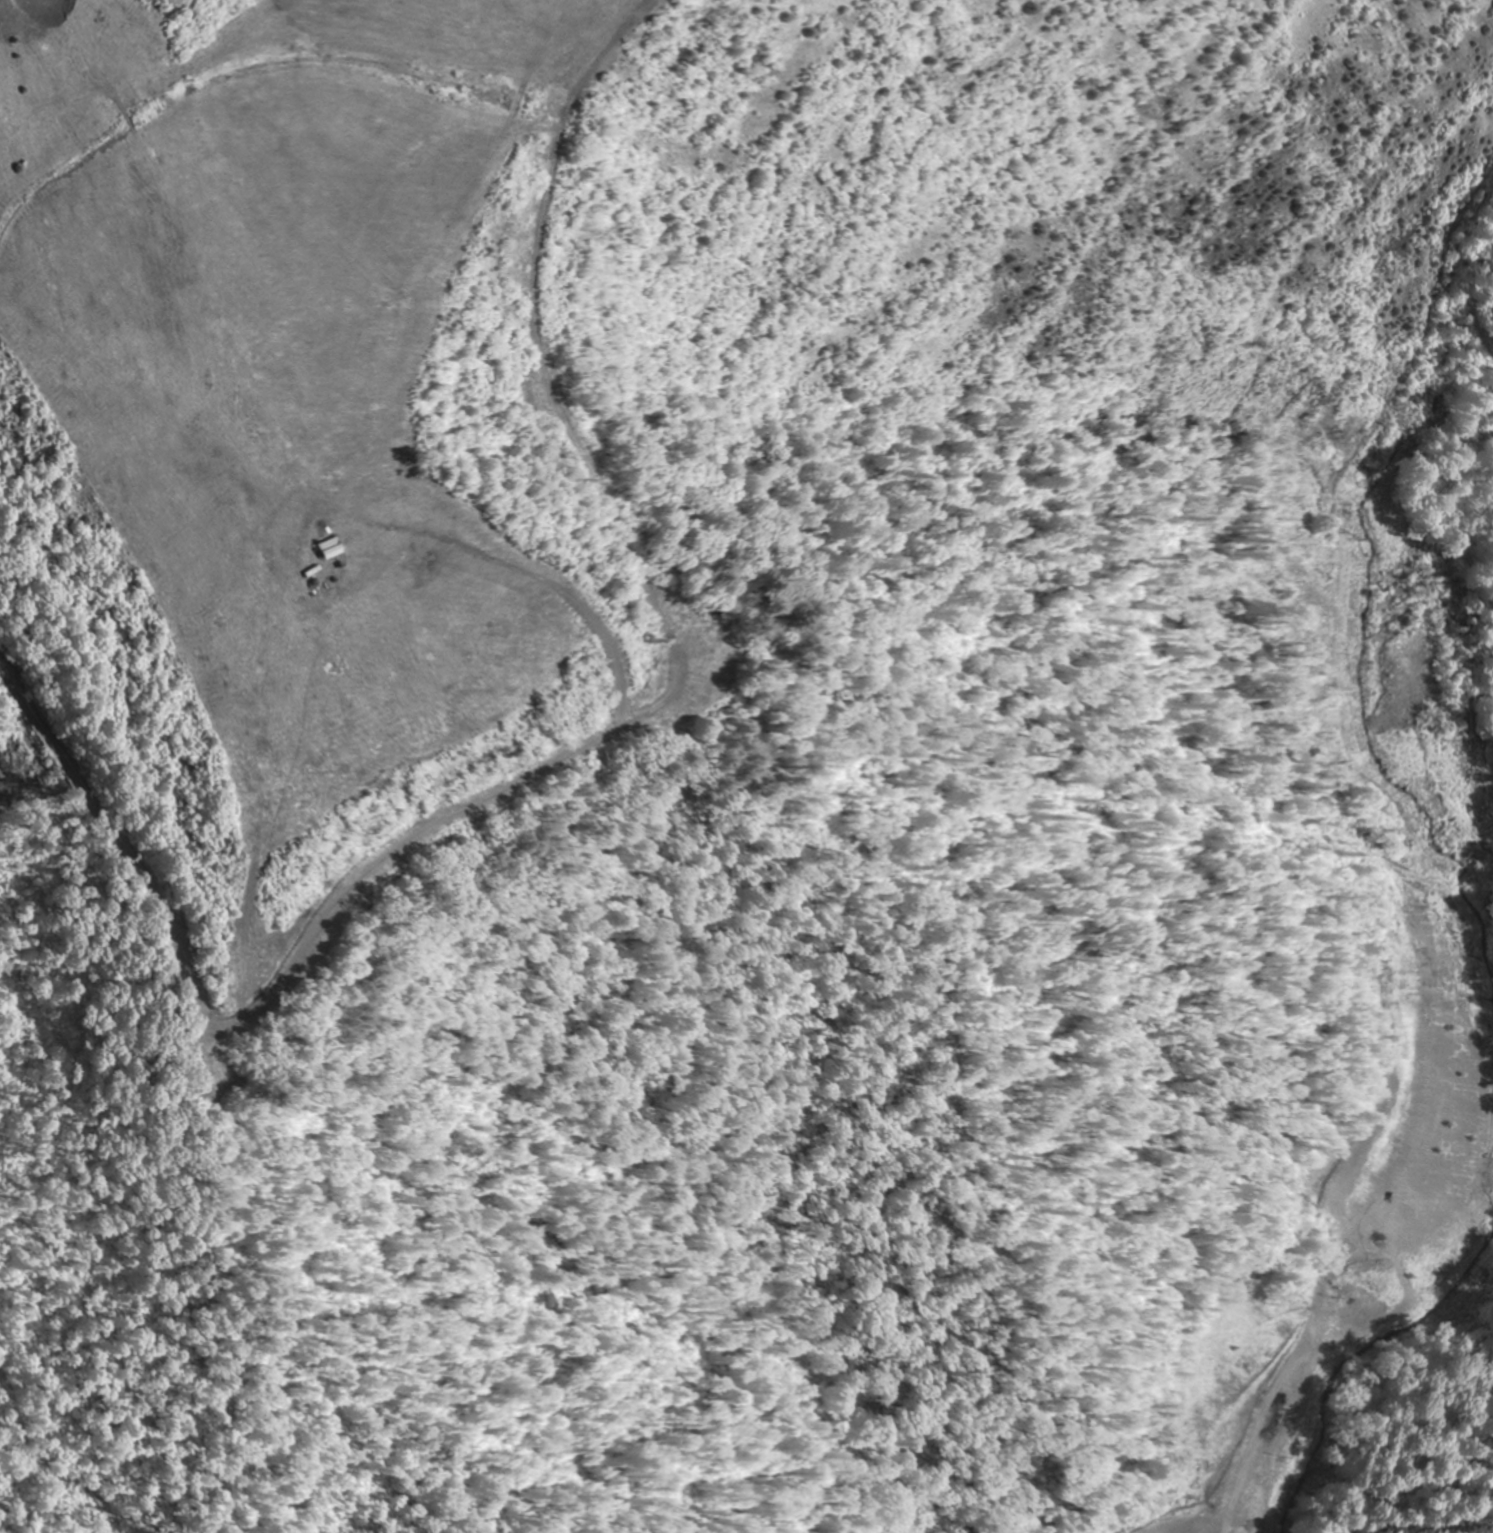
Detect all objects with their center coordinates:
road: (1234, 1487)

